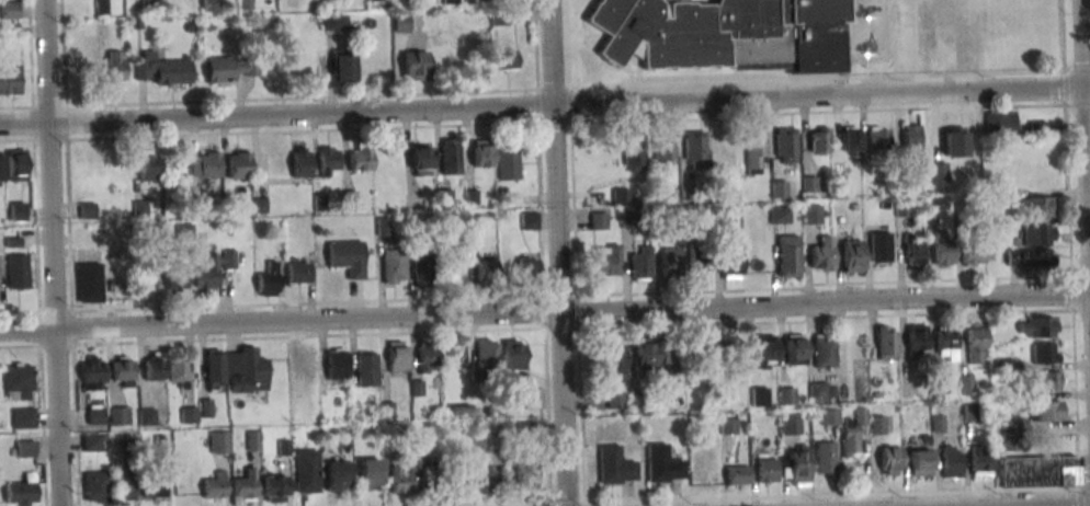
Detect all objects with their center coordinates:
building: (474, 0)
road: (663, 0)
building: (144, 5)
building: (9, 10)
road: (848, 18)
building: (334, 22)
building: (723, 33)
road: (586, 41)
road: (593, 43)
road: (1064, 43)
road: (568, 51)
building: (506, 59)
road: (1088, 59)
road: (638, 65)
building: (415, 66)
building: (114, 67)
building: (229, 68)
building: (342, 70)
building: (160, 71)
road: (737, 73)
building: (9, 79)
road: (819, 79)
road: (545, 105)
building: (1000, 123)
building: (1037, 126)
building: (877, 138)
building: (851, 139)
building: (818, 140)
building: (954, 140)
building: (911, 143)
building: (785, 146)
building: (665, 148)
building: (695, 149)
building: (754, 150)
building: (482, 153)
building: (449, 157)
building: (634, 157)
building: (360, 159)
building: (419, 160)
building: (328, 161)
building: (299, 162)
building: (508, 162)
building: (16, 164)
building: (238, 164)
building: (147, 165)
building: (206, 165)
building: (935, 172)
building: (624, 196)
building: (443, 198)
building: (1037, 206)
building: (16, 210)
building: (87, 210)
building: (780, 215)
building: (813, 215)
building: (529, 220)
building: (599, 220)
building: (1037, 235)
building: (879, 248)
building: (943, 249)
road: (53, 252)
road: (558, 252)
building: (913, 252)
building: (788, 255)
building: (822, 255)
building: (852, 255)
building: (973, 255)
building: (345, 257)
building: (1020, 258)
building: (606, 261)
building: (699, 261)
building: (670, 262)
building: (640, 264)
building: (450, 265)
building: (527, 265)
building: (731, 265)
building: (394, 266)
building: (421, 267)
building: (214, 268)
building: (16, 271)
building: (486, 271)
building: (177, 272)
building: (298, 272)
building: (268, 280)
building: (88, 281)
road: (544, 309)
building: (1037, 327)
building: (917, 340)
building: (885, 342)
building: (945, 343)
building: (977, 345)
building: (795, 349)
building: (824, 350)
building: (644, 352)
building: (764, 352)
building: (487, 353)
building: (703, 353)
building: (1044, 353)
building: (735, 354)
building: (427, 355)
building: (513, 355)
building: (669, 355)
building: (398, 356)
building: (307, 360)
building: (337, 363)
building: (613, 364)
building: (151, 369)
building: (236, 369)
building: (178, 370)
building: (366, 370)
building: (123, 371)
building: (92, 372)
building: (18, 381)
building: (1047, 382)
building: (818, 391)
building: (786, 395)
building: (533, 398)
building: (298, 401)
building: (1046, 411)
building: (95, 414)
building: (118, 416)
building: (829, 417)
building: (22, 418)
building: (788, 424)
building: (729, 425)
building: (877, 425)
building: (852, 433)
building: (219, 441)
building: (91, 442)
building: (24, 449)
building: (824, 458)
building: (889, 460)
building: (951, 461)
building: (979, 461)
building: (920, 463)
building: (662, 464)
building: (615, 465)
building: (796, 465)
building: (306, 470)
building: (428, 470)
building: (767, 471)
building: (368, 472)
building: (1037, 472)
building: (337, 475)
building: (737, 475)
building: (526, 476)
building: (486, 478)
building: (400, 481)
building: (124, 484)
building: (95, 485)
building: (154, 485)
building: (215, 486)
building: (276, 488)
building: (245, 490)
building: (21, 492)

